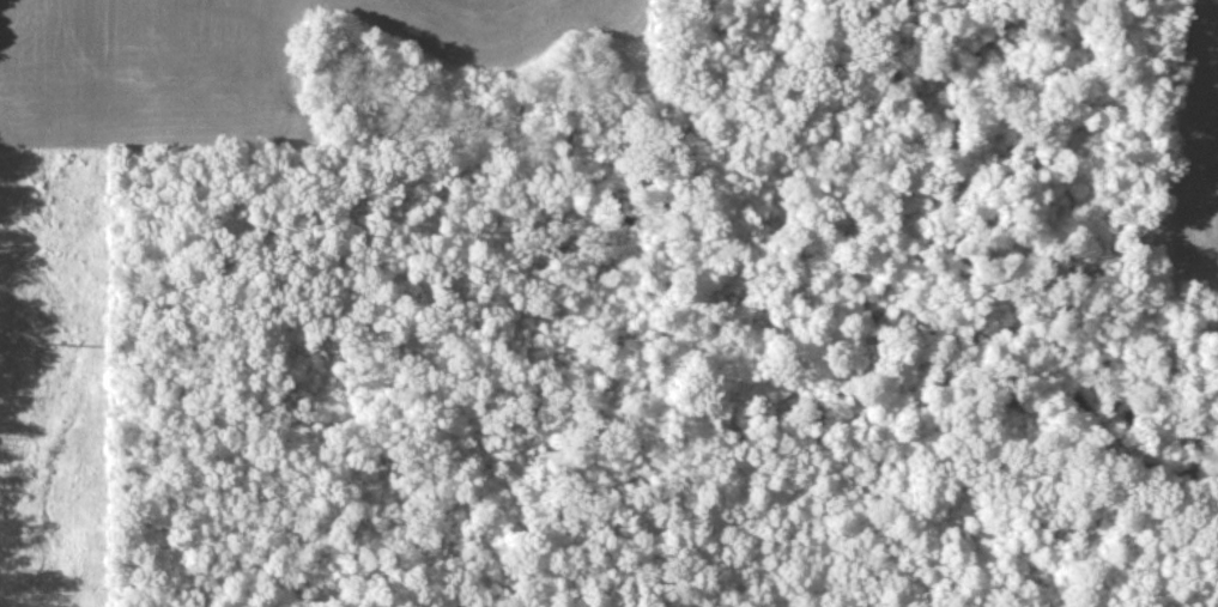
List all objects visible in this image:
power tower: (46, 345)

